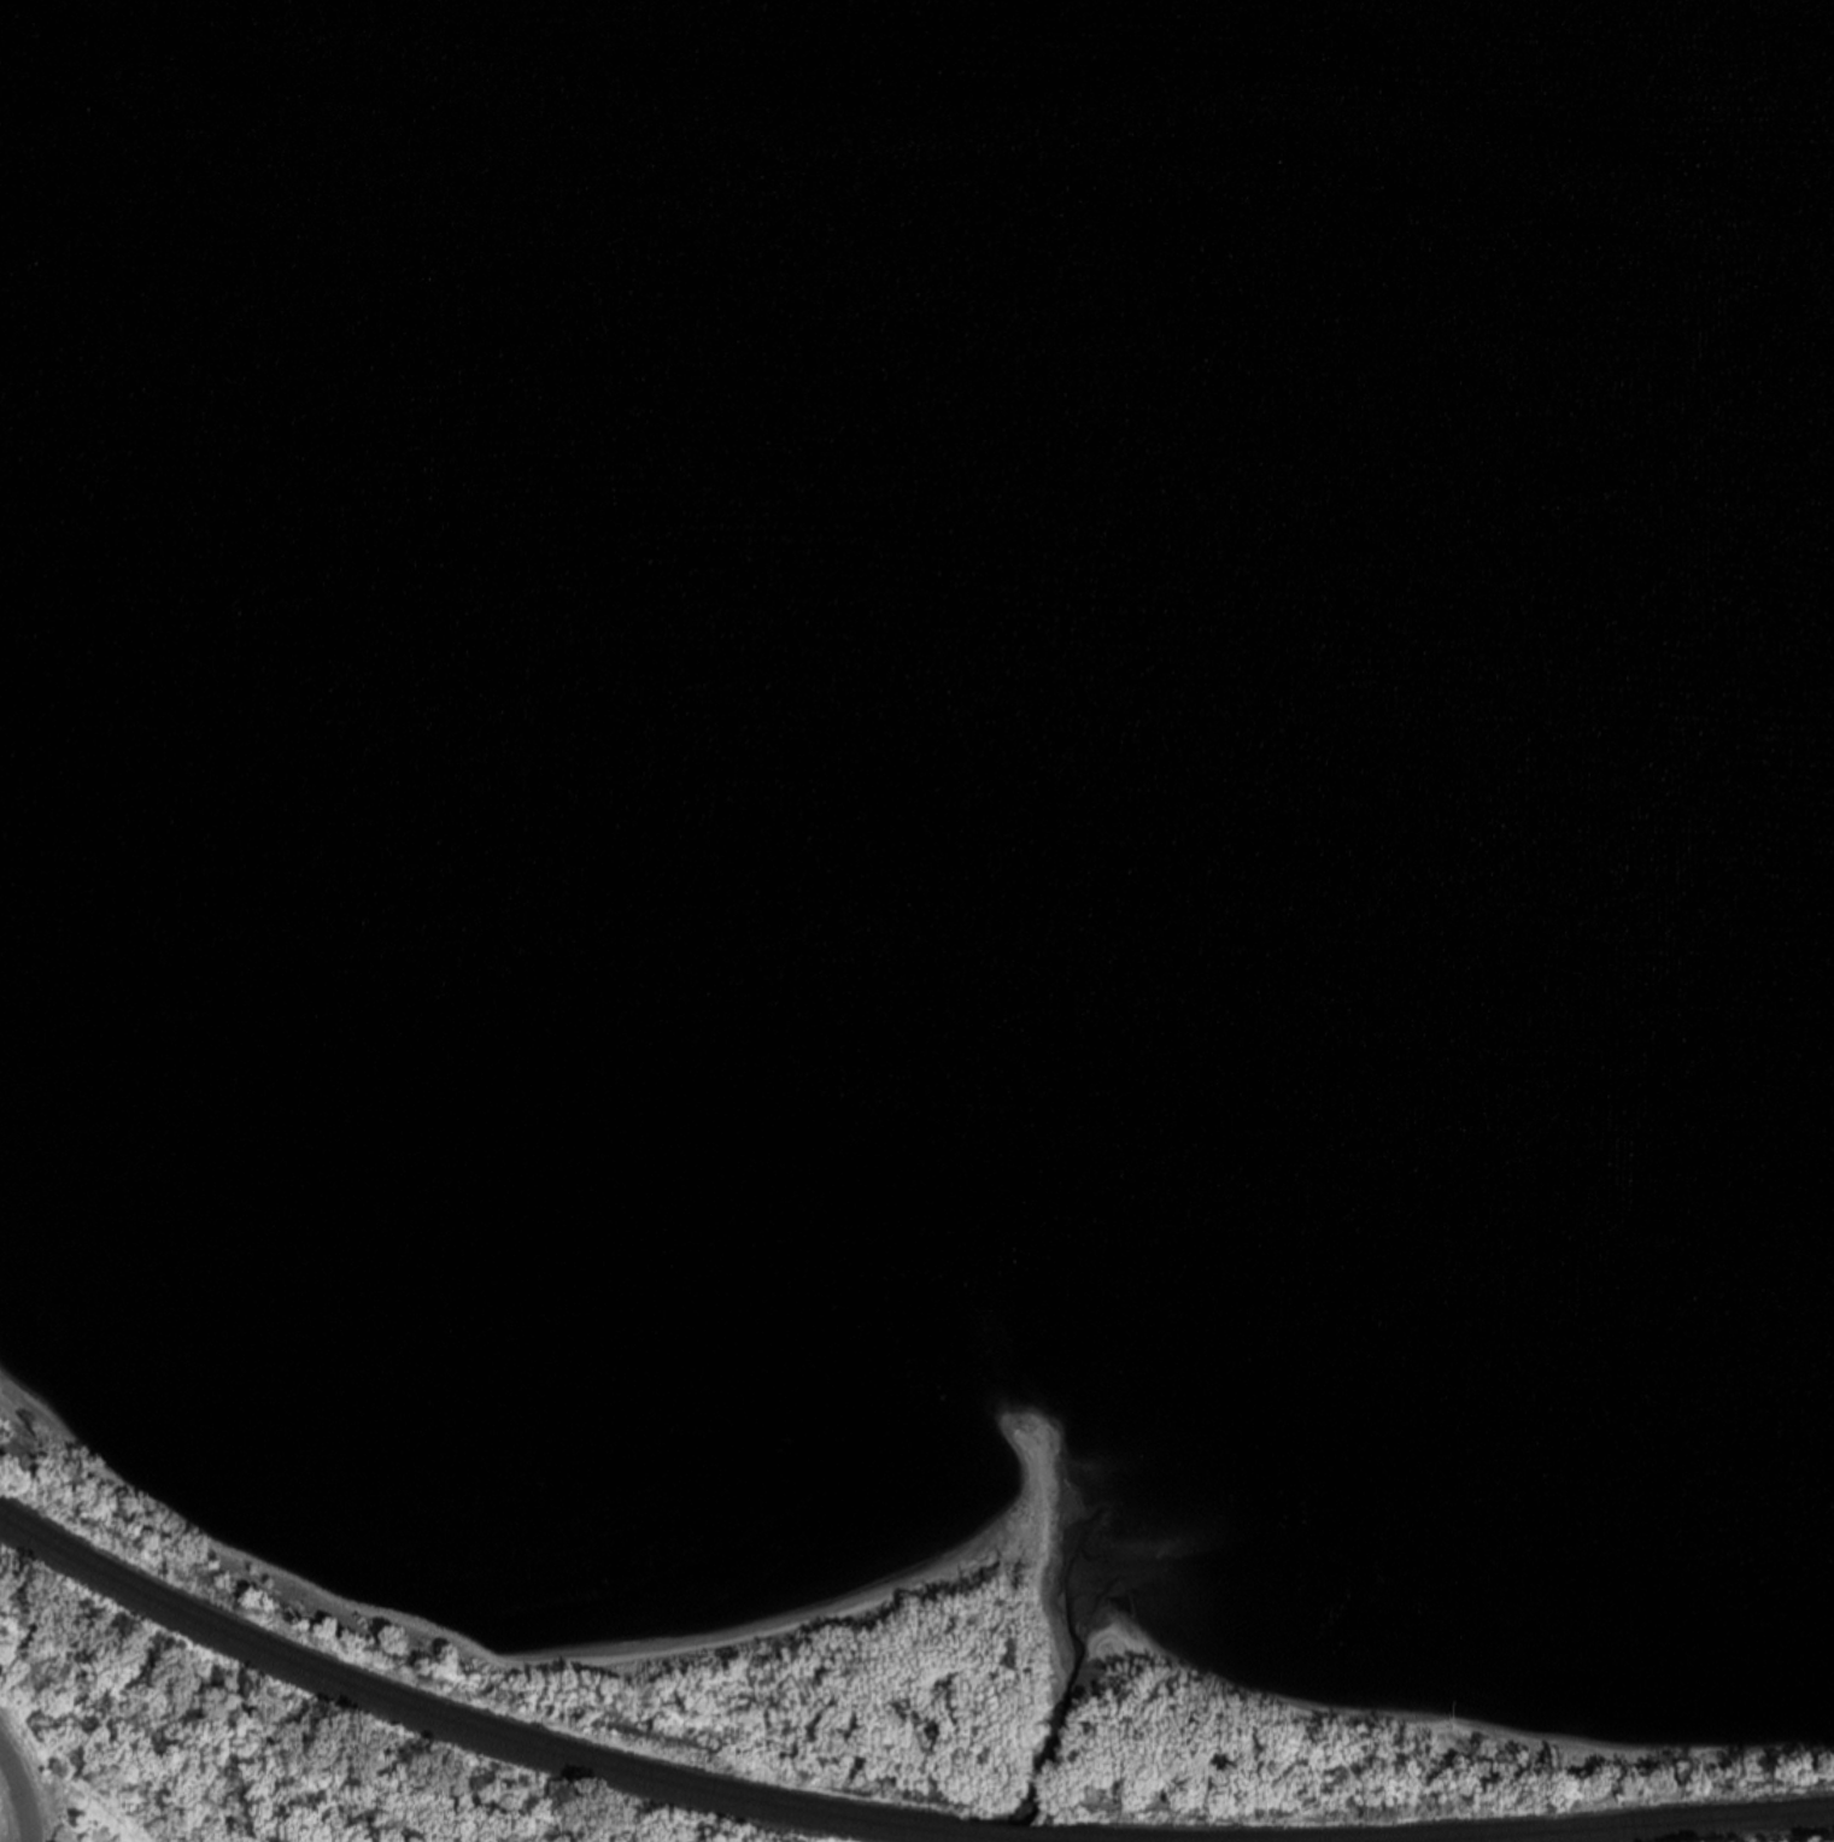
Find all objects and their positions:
railway: (465, 1720)
railway: (461, 1732)
road: (20, 1794)
railway: (1560, 1828)
railway: (1691, 1830)
railway: (1001, 1832)
railway: (1090, 1838)

